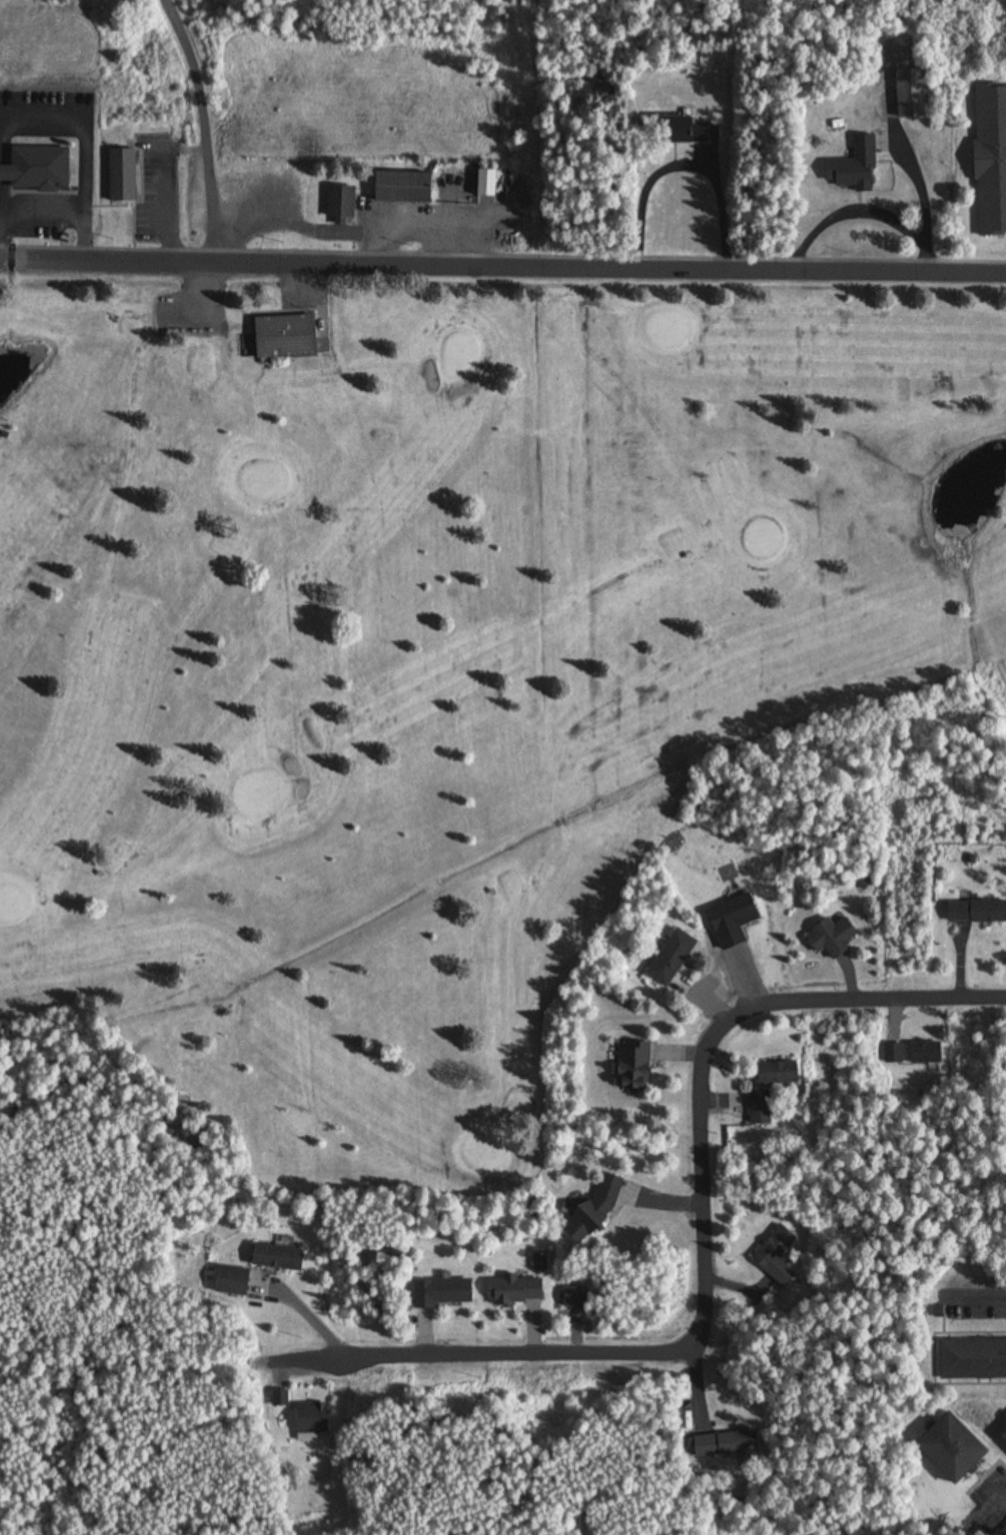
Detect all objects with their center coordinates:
park: (137, 58)
building: (907, 95)
building: (677, 132)
building: (989, 160)
building: (852, 167)
building: (35, 170)
building: (120, 175)
building: (484, 183)
building: (400, 188)
building: (338, 203)
road: (502, 267)
road: (303, 279)
parking lot: (302, 293)
road: (206, 304)
parking lot: (192, 309)
park: (668, 331)
building: (282, 336)
park: (457, 356)
park: (261, 481)
park: (762, 541)
park: (421, 674)
park: (260, 797)
park: (13, 904)
building: (975, 912)
building: (829, 937)
building: (668, 958)
building: (923, 1052)
building: (892, 1053)
building: (631, 1065)
building: (775, 1074)
building: (758, 1109)
park: (483, 1154)
road: (704, 1240)
building: (775, 1255)
building: (275, 1259)
building: (230, 1282)
building: (513, 1292)
building: (439, 1293)
building: (972, 1359)
building: (279, 1400)
park: (256, 1414)
building: (309, 1418)
building: (1002, 1437)
building: (734, 1444)
building: (699, 1445)
building: (947, 1449)
park: (972, 1534)

